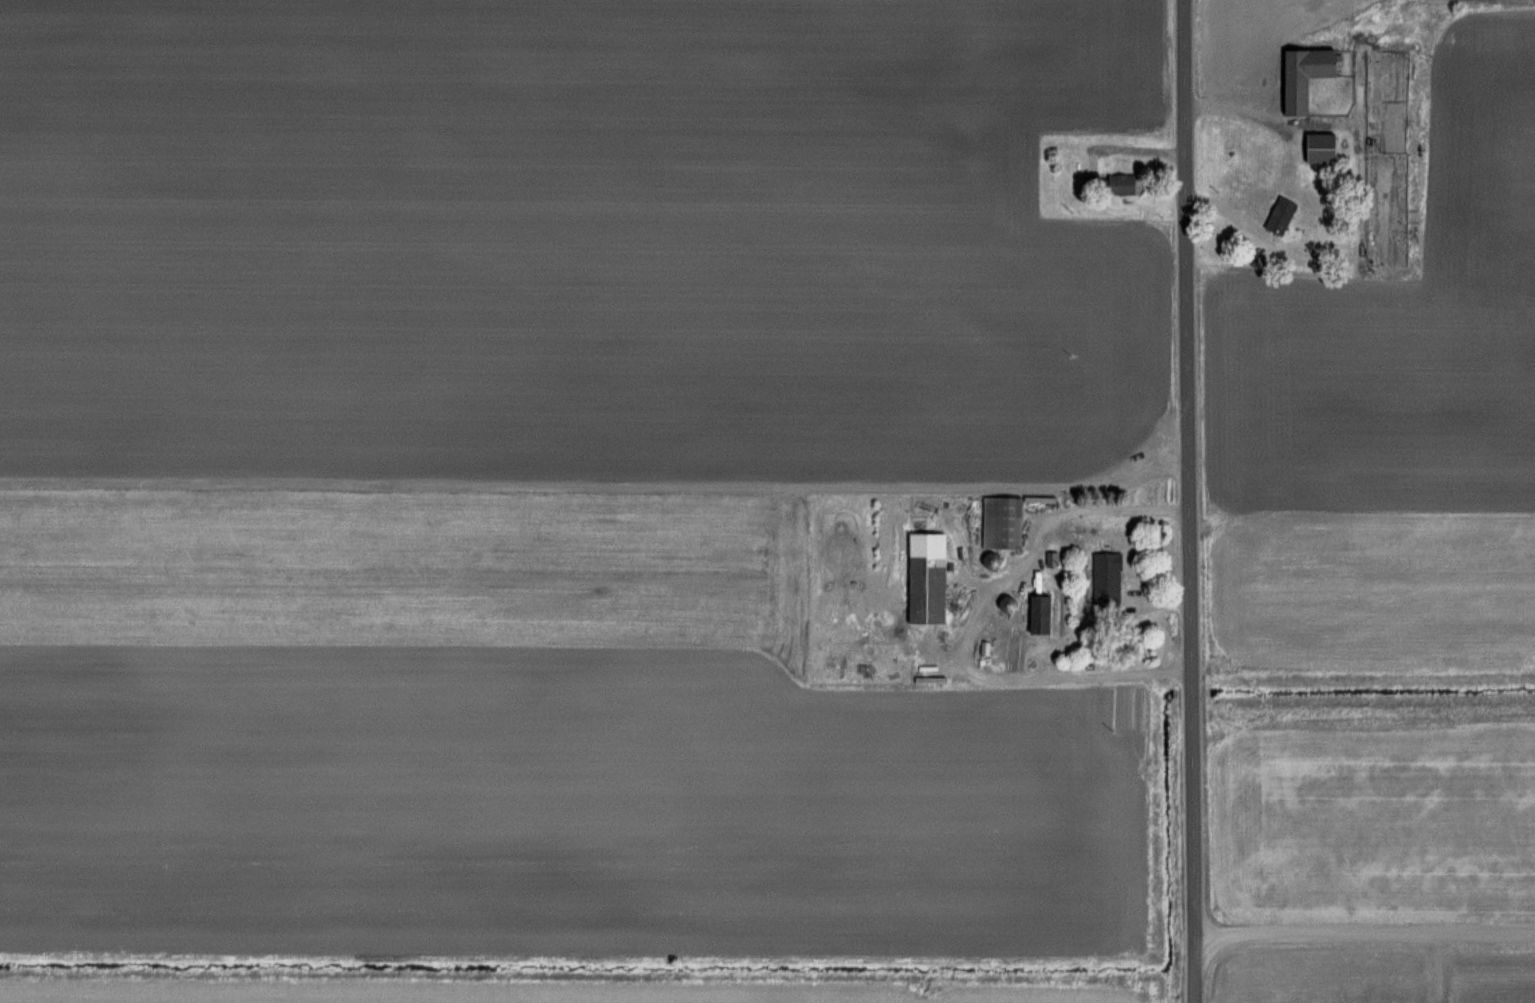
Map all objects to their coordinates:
building: (1302, 75)
building: (1316, 149)
building: (1112, 183)
building: (1279, 215)
road: (1191, 501)
building: (1001, 522)
building: (925, 578)
building: (1105, 580)
building: (1005, 604)
building: (1039, 615)
road: (1365, 931)

